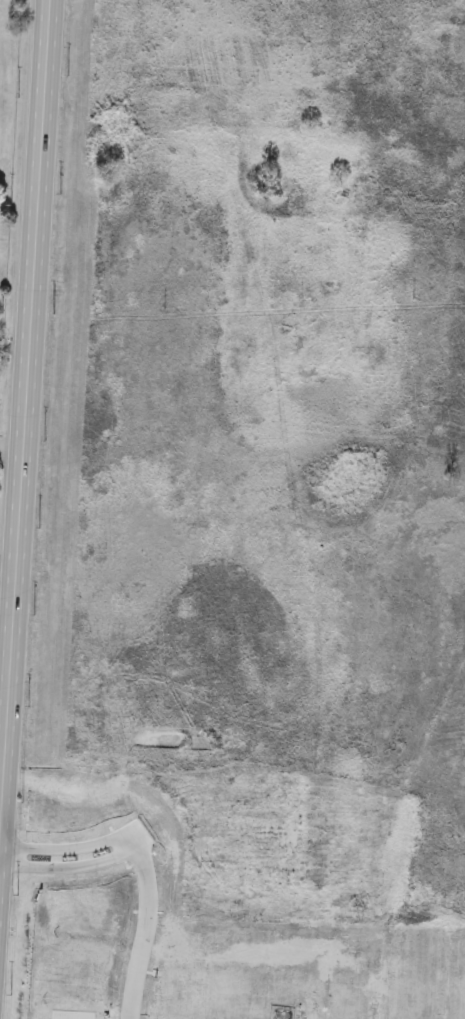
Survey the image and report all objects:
road: (18, 317)
road: (8, 348)
road: (150, 829)
road: (148, 921)

